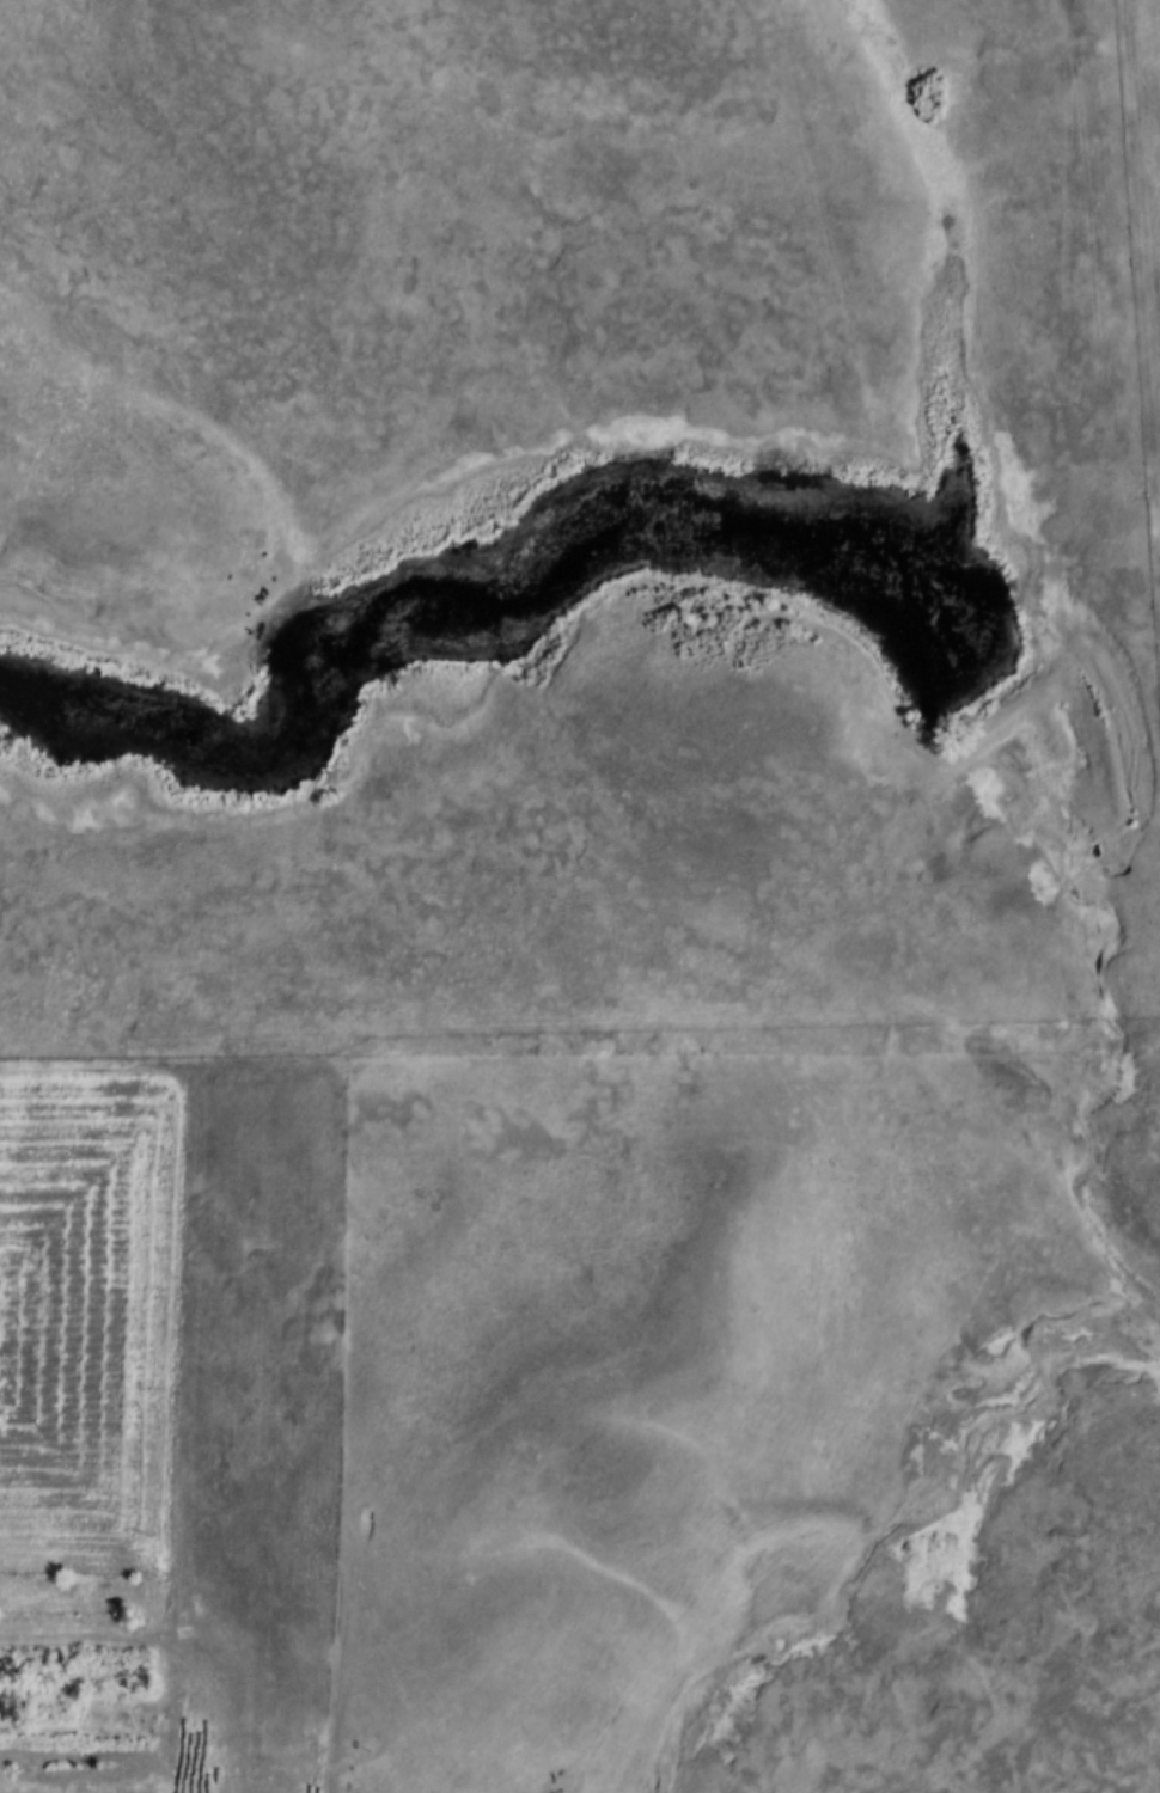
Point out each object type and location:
road: (1144, 191)
dam: (985, 689)

